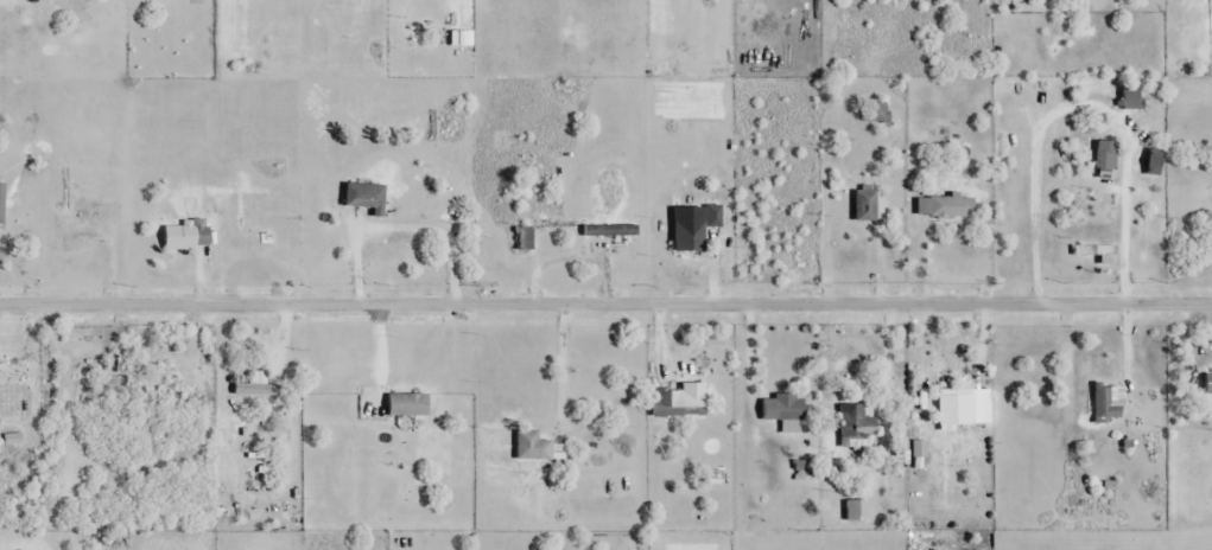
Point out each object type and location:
building: (1132, 100)
building: (877, 114)
building: (1105, 160)
building: (366, 198)
building: (1, 204)
building: (432, 204)
building: (870, 206)
building: (940, 209)
building: (713, 216)
building: (609, 231)
building: (689, 232)
building: (186, 236)
building: (75, 238)
building: (523, 239)
building: (1093, 251)
road: (605, 305)
building: (256, 389)
building: (680, 401)
building: (1109, 403)
building: (407, 404)
building: (963, 408)
building: (789, 412)
building: (857, 427)
building: (532, 446)

